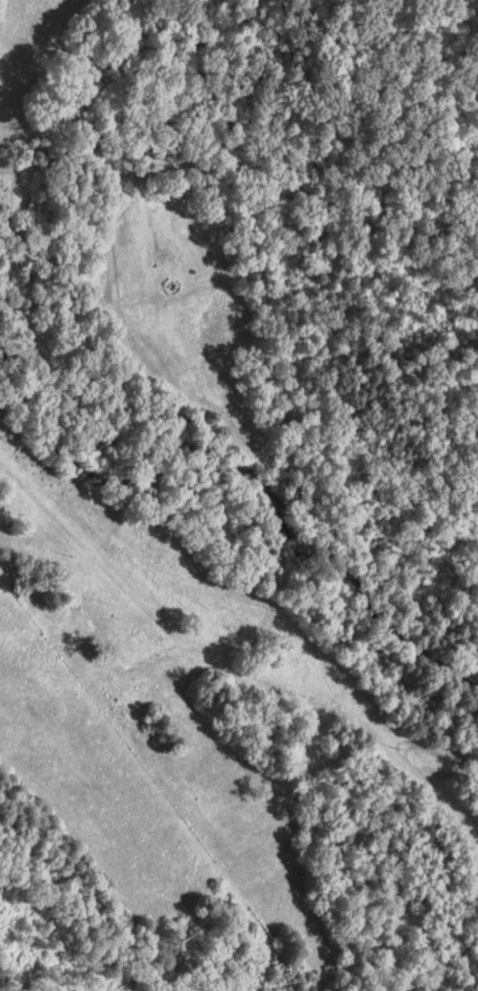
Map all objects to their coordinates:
road: (160, 118)

